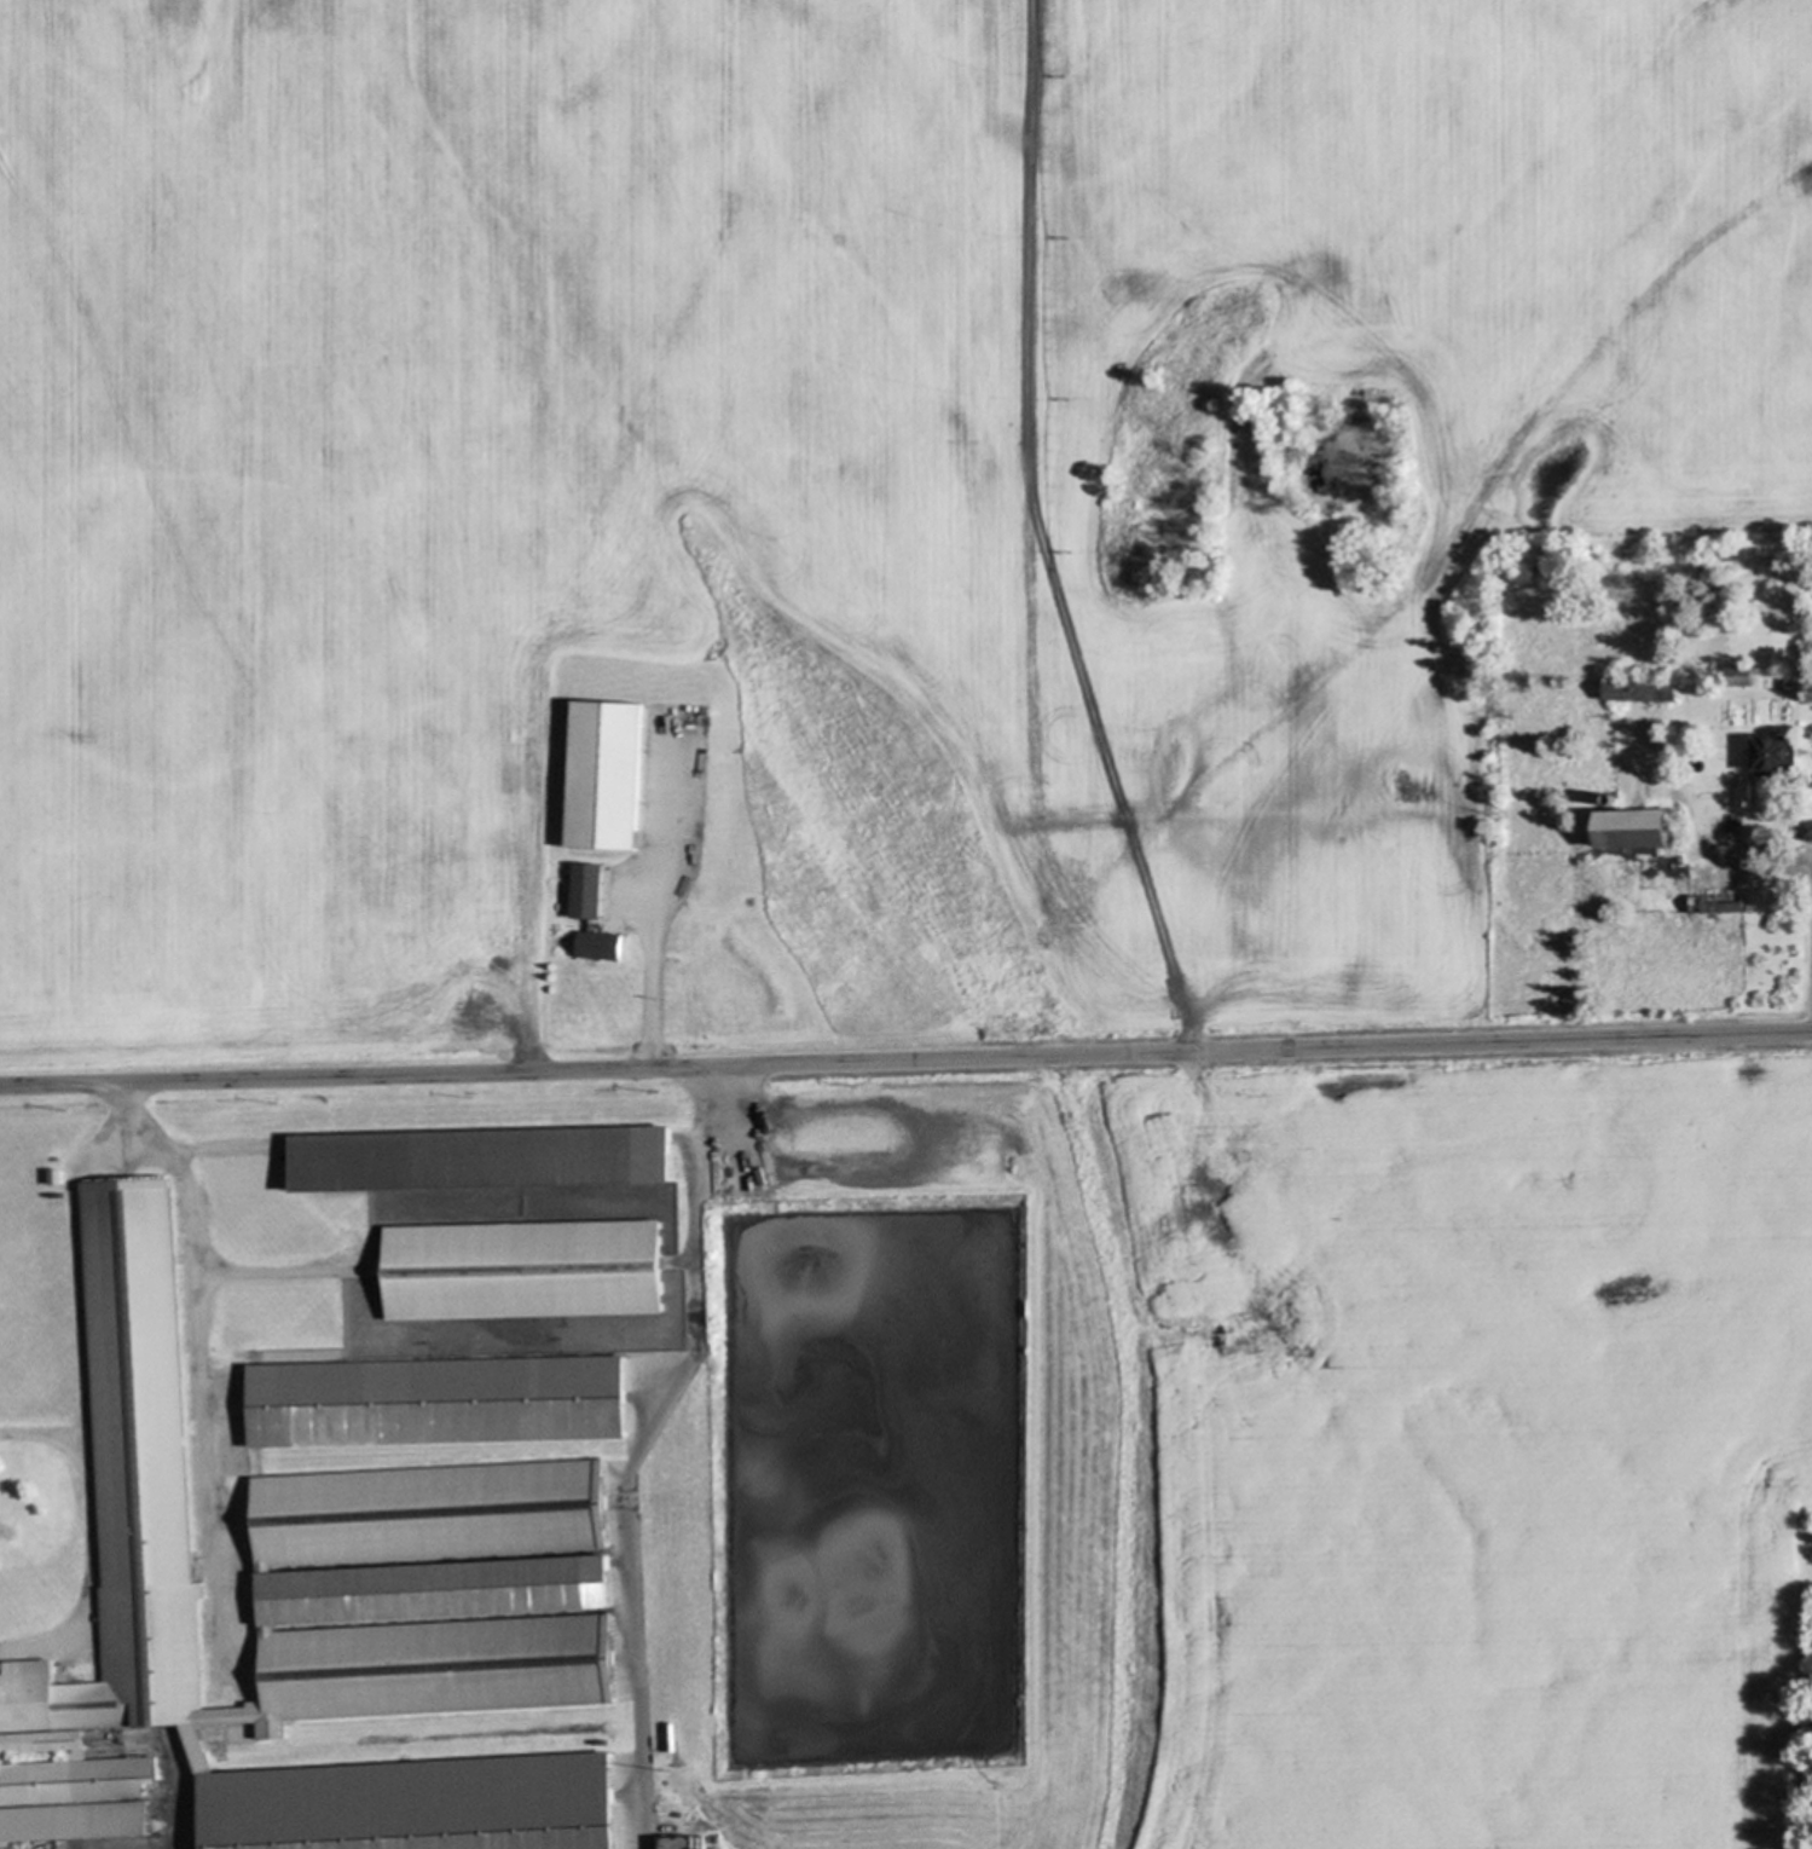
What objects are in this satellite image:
building: (1739, 675)
building: (1785, 684)
building: (1640, 689)
building: (1772, 755)
building: (600, 775)
building: (1746, 793)
building: (1611, 798)
building: (1637, 827)
building: (1806, 830)
building: (668, 842)
building: (583, 890)
building: (1717, 902)
building: (596, 946)
road: (656, 978)
road: (905, 1059)
building: (476, 1161)
building: (520, 1269)
road: (199, 1368)
road: (85, 1387)
building: (433, 1400)
road: (44, 1435)
road: (630, 1449)
building: (422, 1513)
building: (247, 1583)
building: (696, 1842)
building: (676, 1843)

